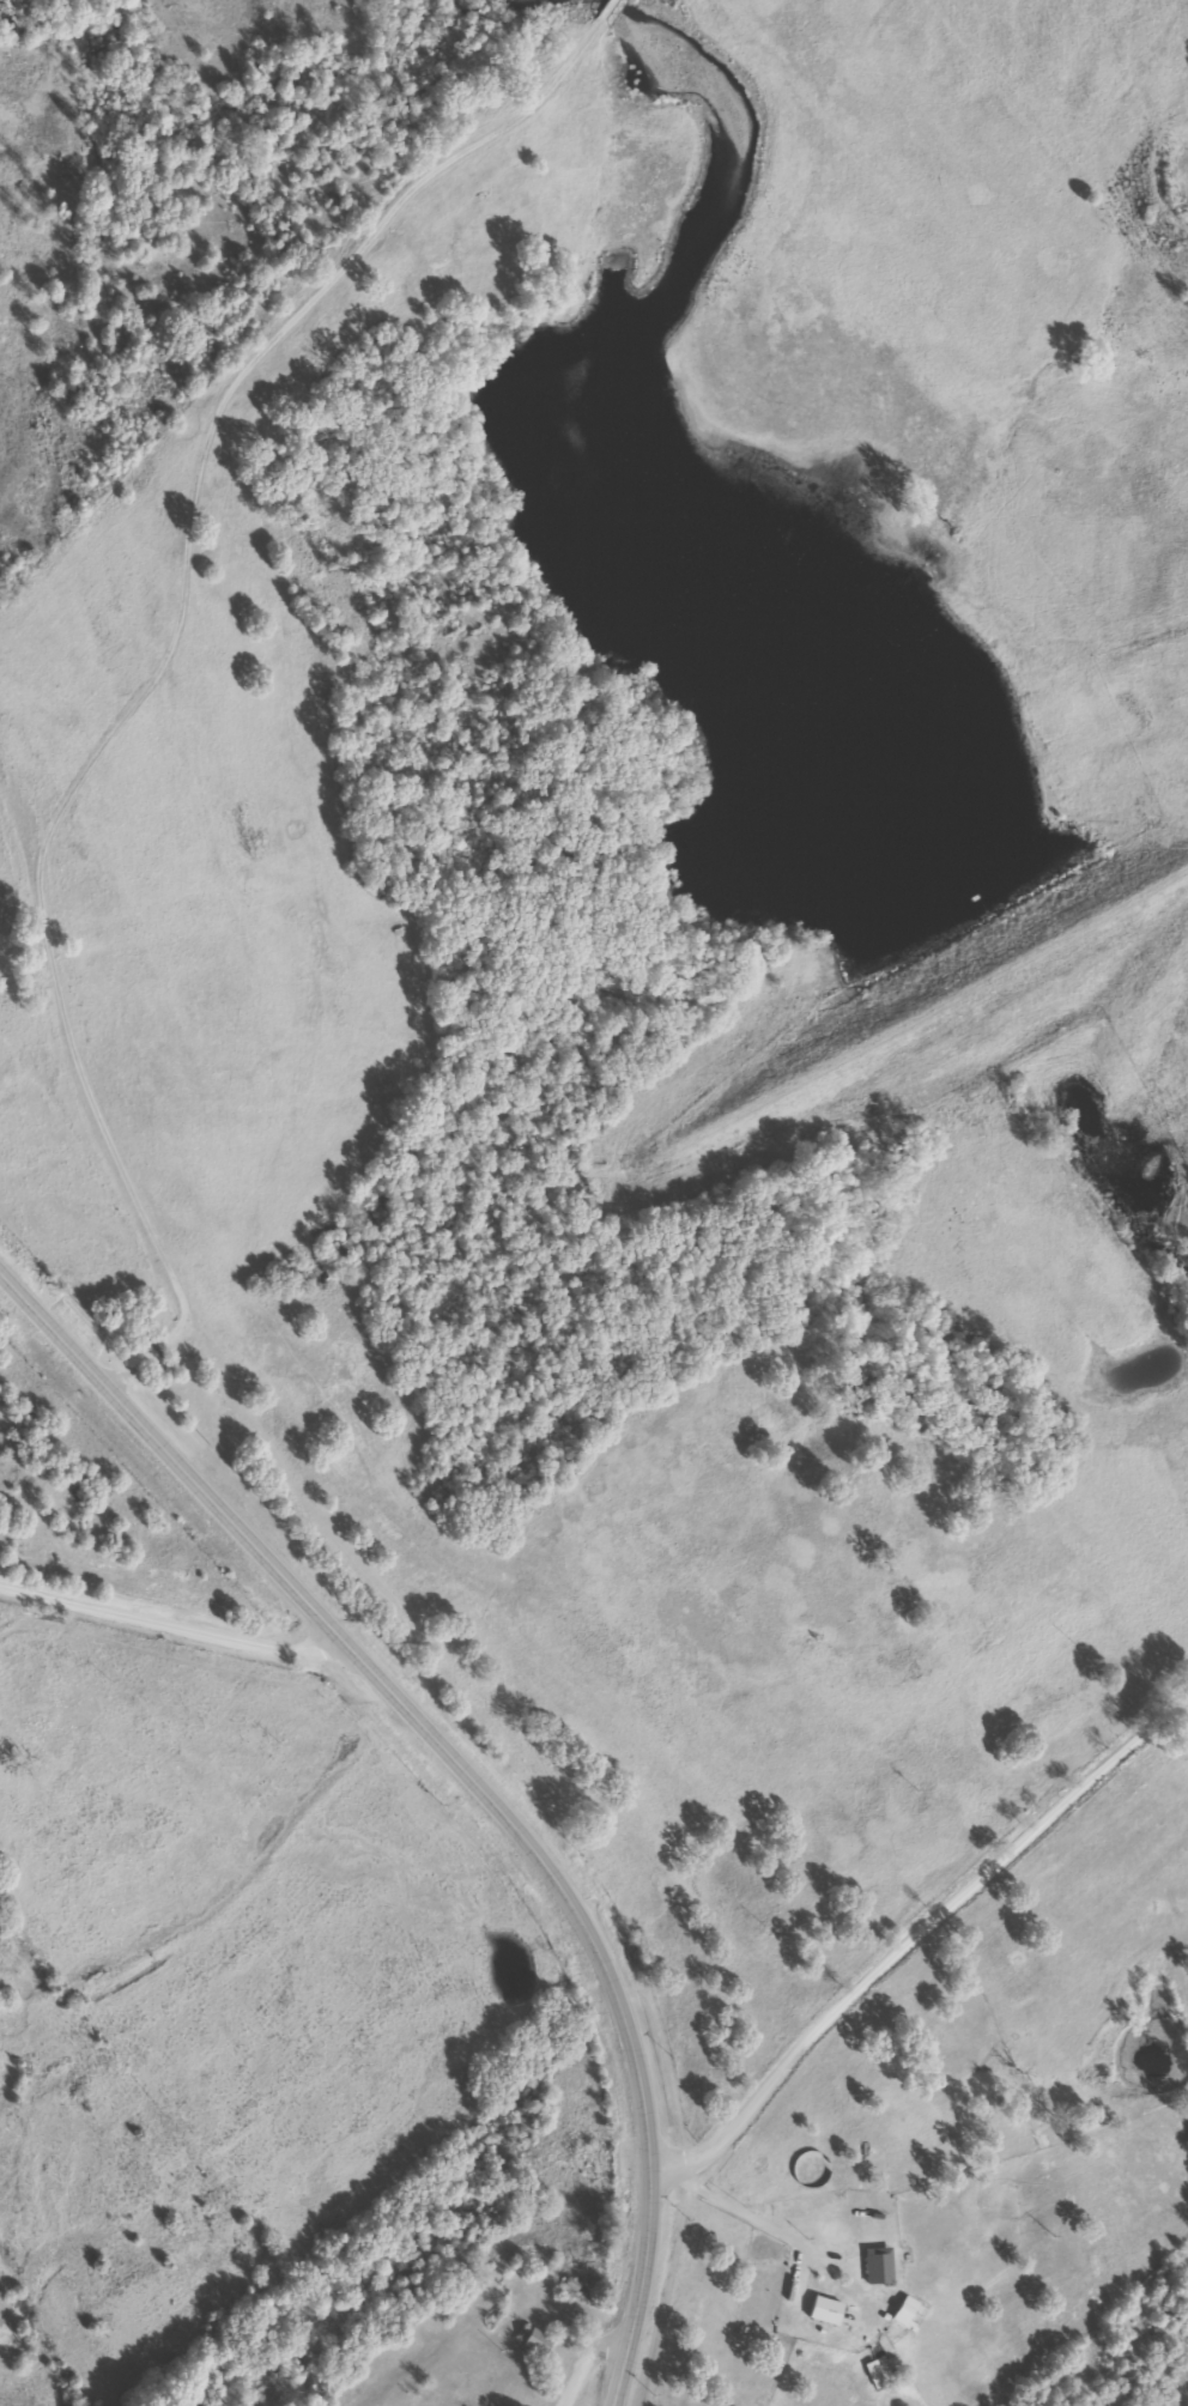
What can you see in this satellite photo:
road: (174, 1613)
road: (467, 1776)
road: (926, 1943)
building: (875, 2267)
building: (830, 2313)
building: (532, 2341)
road: (600, 2352)

